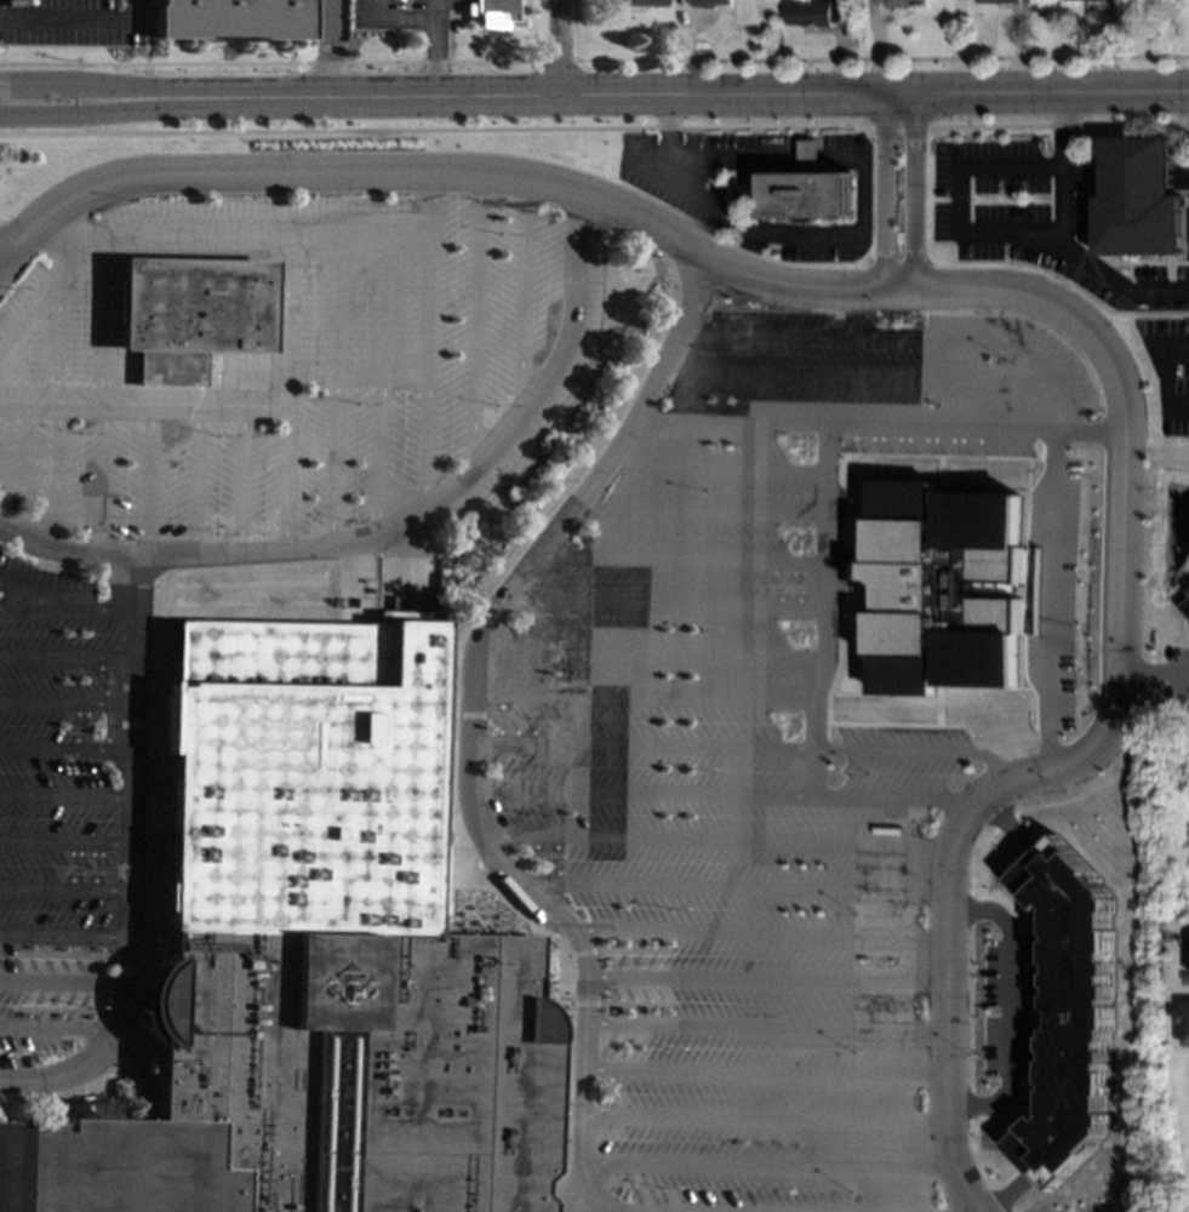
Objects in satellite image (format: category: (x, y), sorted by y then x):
building: (991, 0)
building: (1172, 0)
building: (638, 2)
building: (704, 2)
building: (898, 2)
building: (850, 4)
road: (433, 10)
building: (814, 11)
building: (490, 12)
building: (229, 18)
road: (395, 18)
road: (75, 19)
parking lot: (64, 23)
road: (330, 51)
road: (558, 51)
road: (433, 61)
road: (85, 88)
road: (1041, 95)
road: (533, 102)
road: (85, 112)
road: (1058, 125)
road: (898, 126)
road: (664, 138)
road: (658, 159)
road: (1064, 170)
road: (328, 172)
road: (1179, 172)
road: (1085, 173)
road: (1138, 173)
building: (811, 189)
road: (884, 191)
road: (913, 191)
building: (1138, 198)
road: (424, 202)
road: (1187, 229)
road: (61, 231)
road: (997, 233)
road: (190, 234)
road: (663, 246)
road: (662, 271)
road: (788, 282)
road: (516, 296)
road: (330, 304)
road: (376, 304)
building: (182, 314)
road: (279, 320)
road: (97, 322)
road: (469, 324)
road: (876, 332)
road: (47, 341)
road: (423, 371)
road: (1165, 372)
road: (350, 373)
road: (853, 378)
road: (141, 402)
road: (1057, 406)
road: (840, 425)
road: (1092, 429)
road: (23, 431)
road: (373, 452)
road: (582, 452)
road: (327, 457)
parking lot: (225, 464)
road: (713, 468)
road: (47, 475)
road: (281, 476)
road: (95, 478)
road: (138, 479)
road: (187, 479)
road: (234, 479)
road: (23, 486)
road: (451, 486)
road: (696, 509)
road: (442, 510)
road: (829, 537)
road: (62, 550)
road: (678, 558)
road: (813, 573)
road: (503, 581)
road: (779, 582)
road: (804, 588)
building: (943, 588)
building: (1188, 591)
road: (1051, 598)
road: (30, 600)
road: (659, 602)
parking lot: (1058, 602)
building: (1185, 605)
road: (63, 616)
road: (1164, 644)
road: (645, 653)
road: (63, 656)
road: (1156, 669)
road: (1153, 670)
road: (638, 699)
road: (63, 703)
road: (479, 707)
road: (503, 707)
road: (458, 716)
road: (505, 716)
road: (812, 722)
road: (1111, 722)
road: (496, 730)
road: (461, 733)
road: (741, 748)
road: (63, 749)
parking lot: (748, 753)
road: (125, 761)
road: (1109, 774)
road: (721, 795)
road: (62, 799)
road: (1004, 822)
road: (711, 837)
road: (62, 844)
road: (727, 888)
road: (62, 891)
road: (961, 891)
road: (487, 894)
road: (753, 933)
road: (61, 934)
road: (633, 942)
road: (623, 951)
road: (573, 953)
building: (307, 959)
road: (605, 964)
road: (621, 964)
road: (636, 964)
road: (651, 964)
road: (762, 978)
road: (1034, 978)
road: (61, 983)
road: (613, 990)
road: (629, 990)
road: (645, 990)
road: (661, 990)
road: (578, 1004)
road: (630, 1005)
road: (1006, 1006)
building: (1069, 1011)
road: (634, 1014)
building: (1184, 1019)
road: (761, 1025)
road: (55, 1027)
road: (614, 1035)
road: (628, 1047)
road: (91, 1056)
road: (608, 1058)
road: (761, 1073)
road: (581, 1119)
road: (761, 1119)
road: (954, 1121)
park: (1166, 1136)
road: (767, 1167)
road: (571, 1194)

